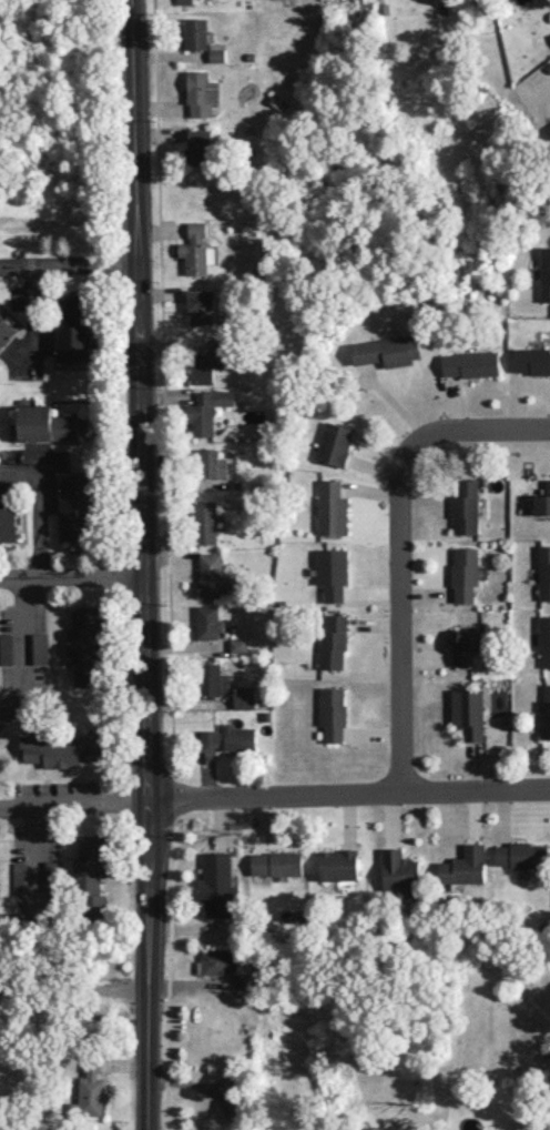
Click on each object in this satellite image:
building: (185, 1)
building: (196, 32)
building: (217, 52)
building: (202, 93)
building: (201, 145)
building: (195, 249)
road: (69, 268)
building: (546, 273)
building: (202, 306)
building: (6, 331)
building: (72, 331)
building: (388, 350)
building: (531, 360)
building: (470, 363)
building: (206, 365)
building: (206, 410)
building: (45, 423)
building: (335, 443)
building: (207, 465)
road: (145, 494)
building: (543, 501)
road: (40, 505)
building: (466, 506)
building: (332, 507)
building: (77, 508)
building: (205, 522)
building: (8, 524)
road: (400, 547)
building: (333, 572)
building: (544, 572)
building: (465, 573)
road: (74, 575)
building: (213, 575)
building: (208, 622)
building: (544, 639)
building: (334, 643)
building: (238, 645)
building: (468, 646)
building: (40, 647)
building: (84, 647)
building: (6, 648)
road: (23, 649)
building: (213, 679)
building: (244, 696)
building: (469, 712)
building: (547, 712)
building: (334, 713)
building: (230, 737)
building: (62, 749)
road: (350, 796)
road: (75, 803)
building: (522, 855)
road: (34, 856)
building: (276, 862)
building: (338, 864)
building: (465, 866)
building: (399, 870)
building: (91, 871)
building: (52, 876)
building: (21, 877)
building: (217, 885)
building: (0, 886)
building: (216, 961)
building: (244, 985)
road: (74, 990)
road: (150, 1060)
road: (206, 1088)
building: (91, 1091)

